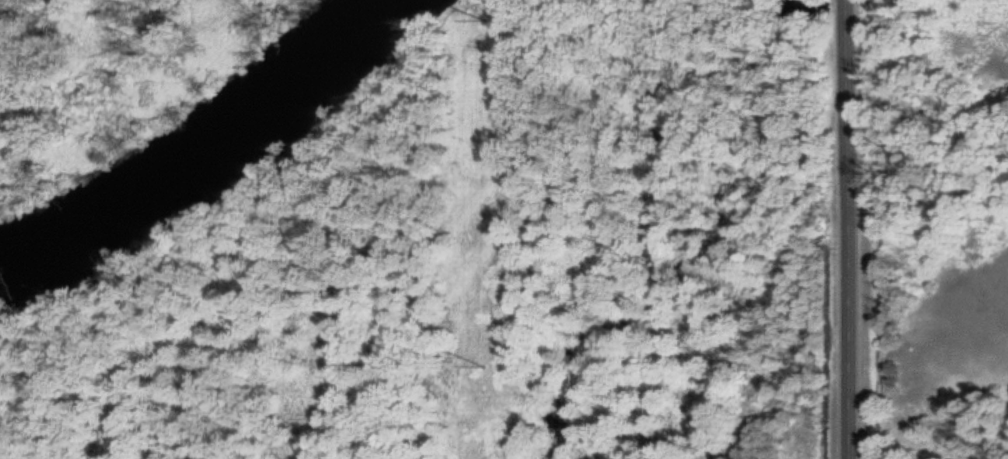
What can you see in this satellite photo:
park: (111, 75)
park: (929, 92)
river: (208, 148)
road: (838, 229)

